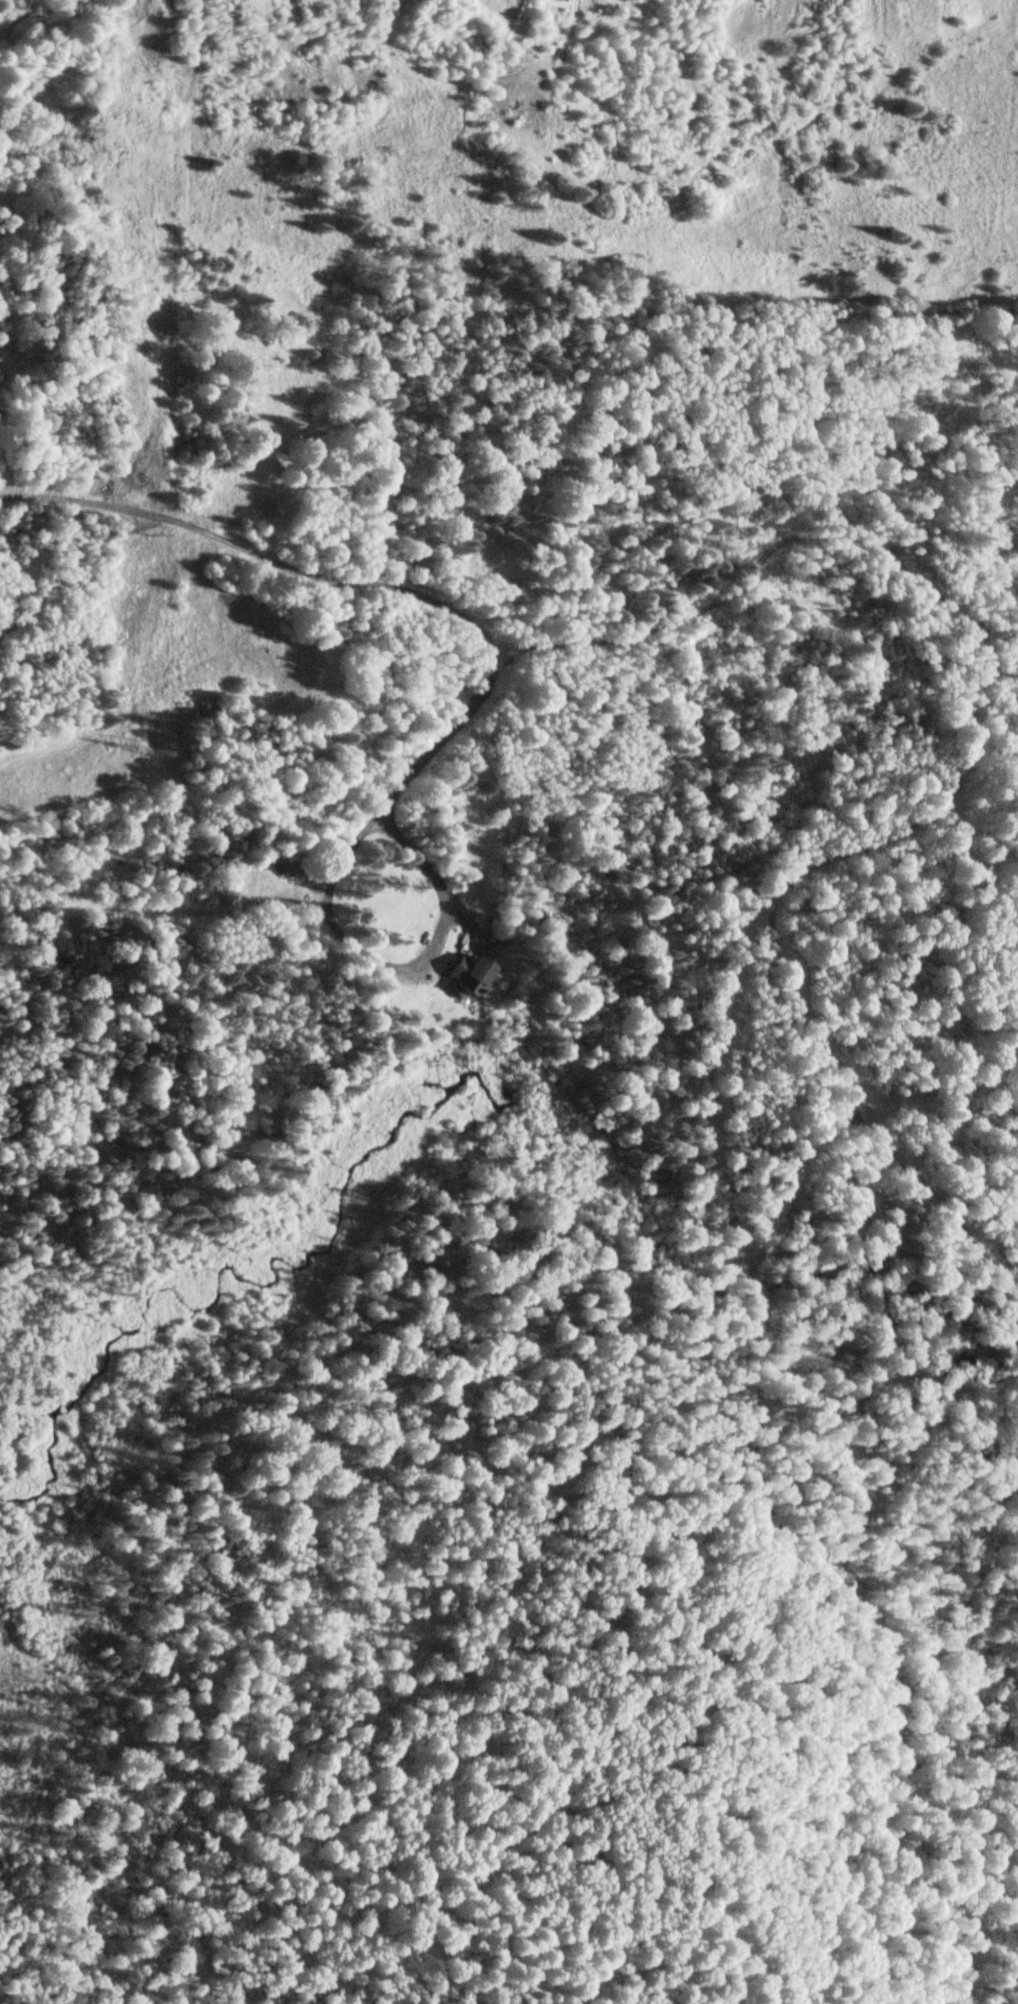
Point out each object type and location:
power tower: (141, 350)
power tower: (149, 746)
building: (464, 974)

